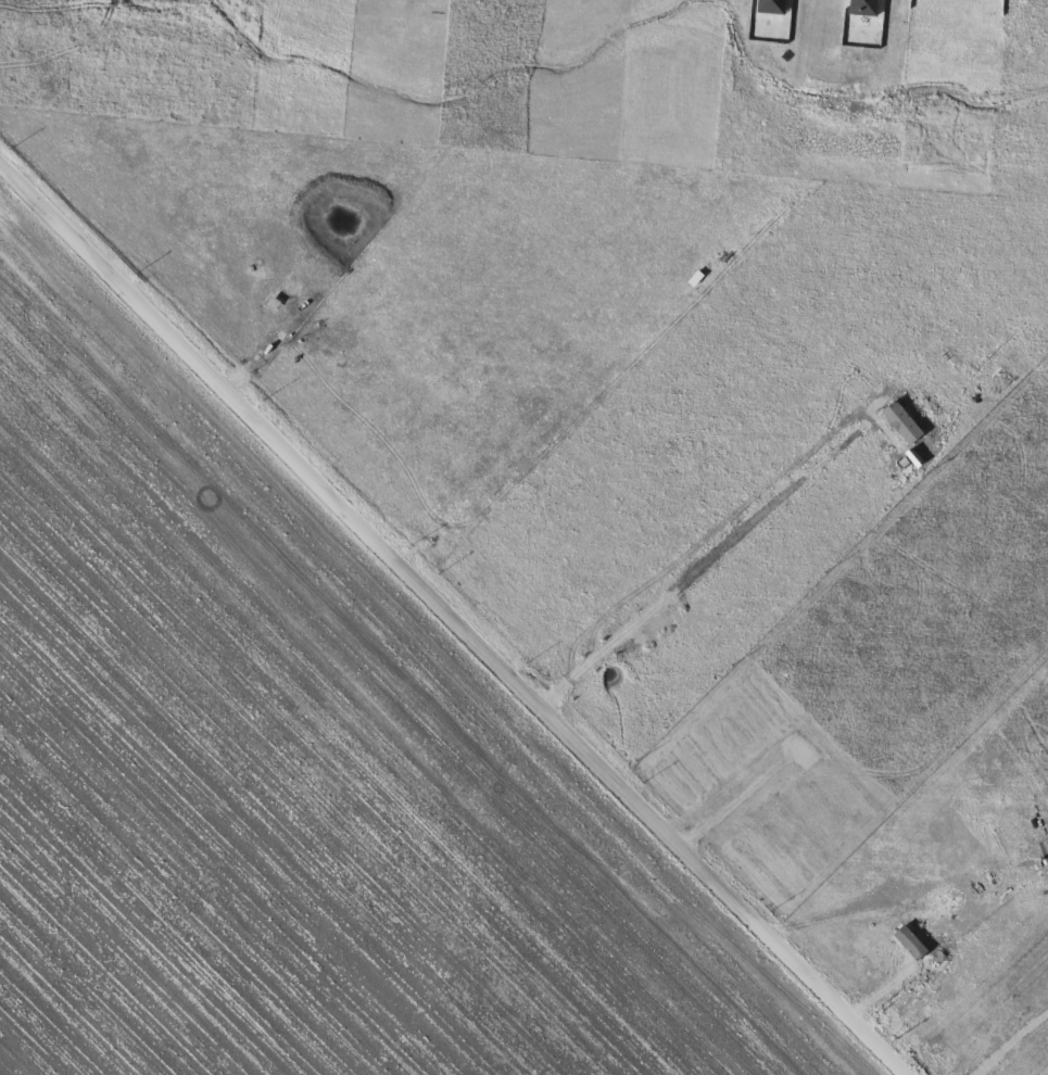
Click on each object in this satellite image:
building: (586, 211)
road: (447, 622)

